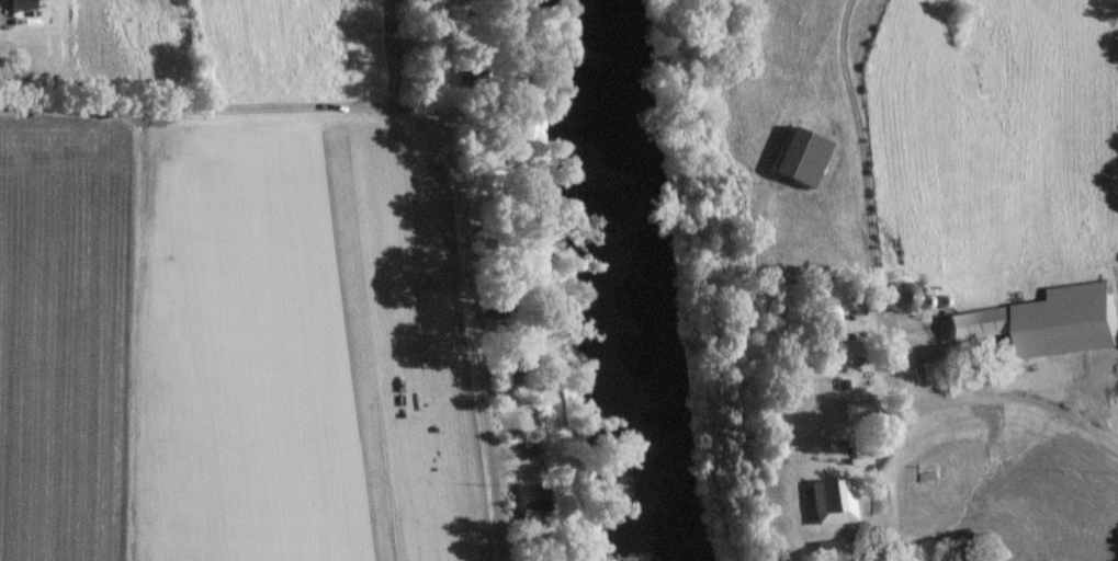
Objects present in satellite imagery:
building: (15, 3)
building: (460, 19)
road: (216, 112)
building: (478, 156)
building: (797, 157)
road: (471, 277)
road: (871, 277)
river: (621, 280)
building: (822, 314)
building: (976, 323)
road: (936, 344)
building: (924, 369)
road: (1018, 401)
building: (851, 410)
building: (769, 445)
road: (877, 453)
building: (528, 496)
building: (878, 499)
building: (824, 502)
building: (522, 518)
building: (821, 551)

